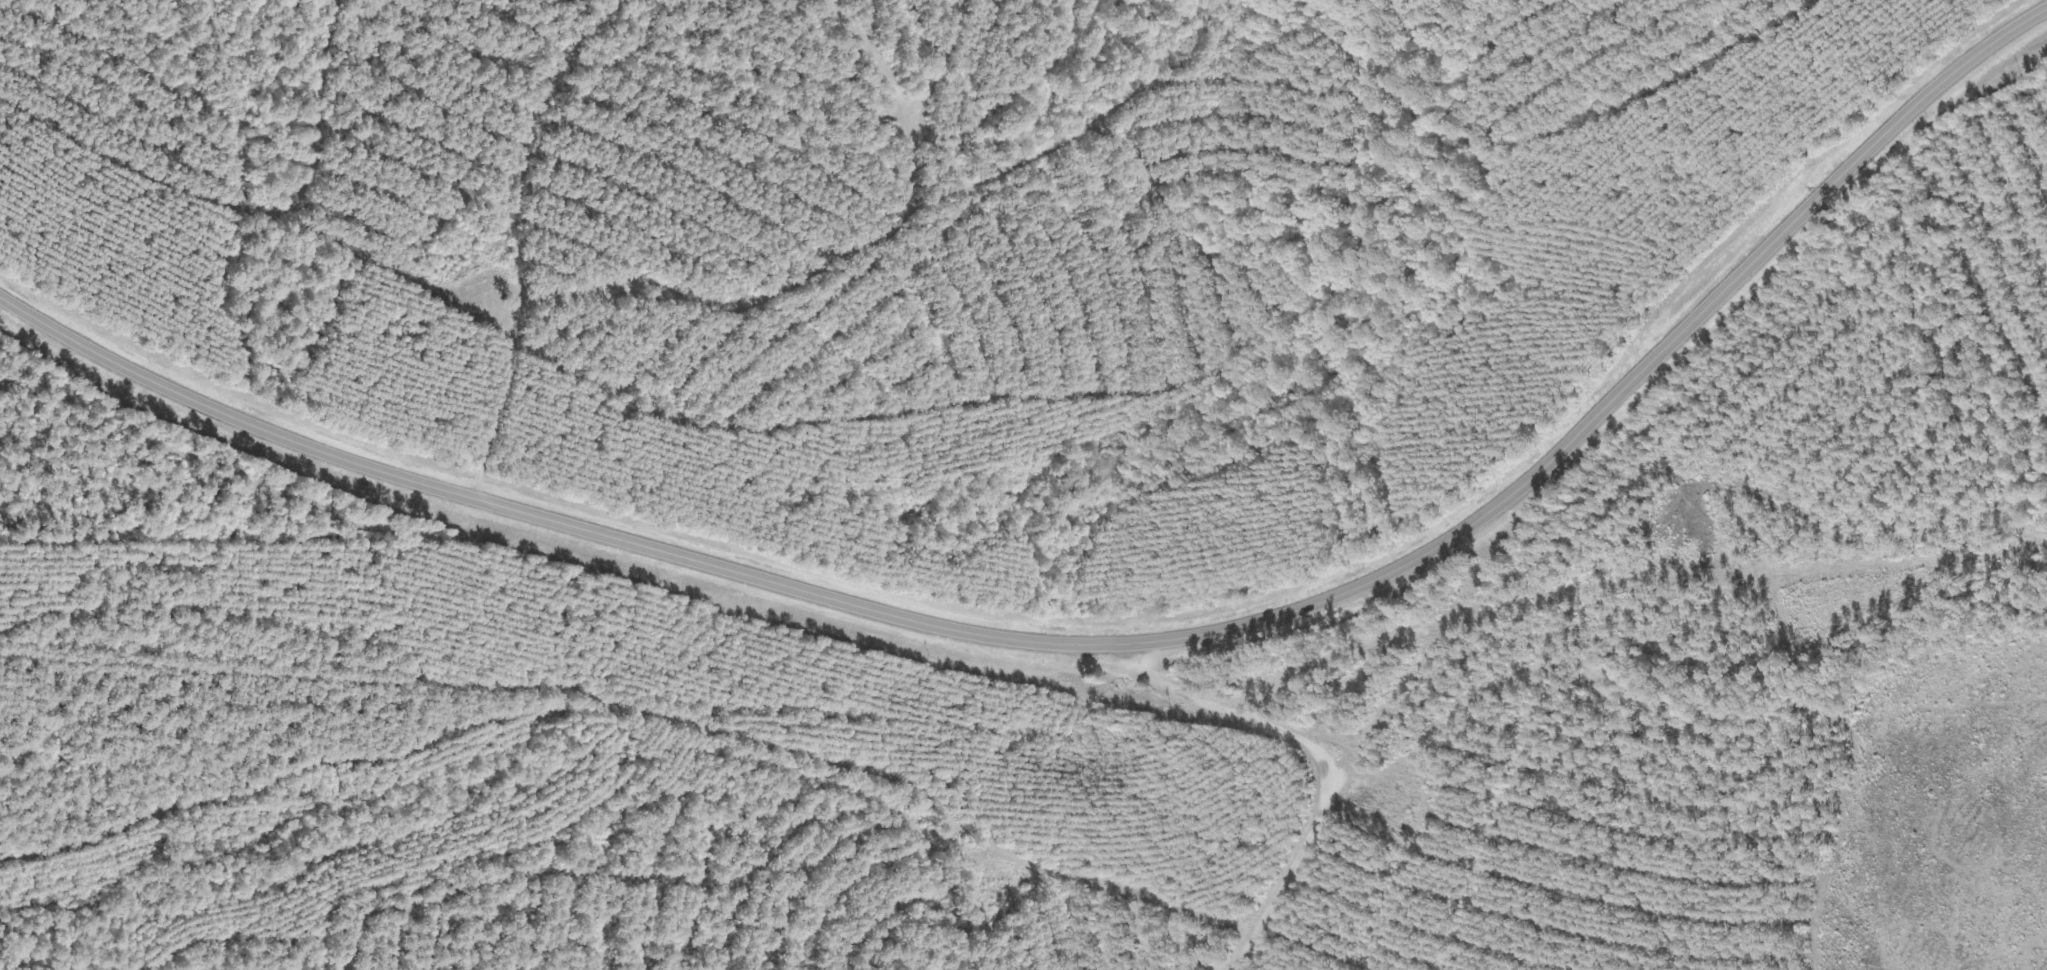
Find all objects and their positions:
road: (1103, 644)
road: (1364, 718)

